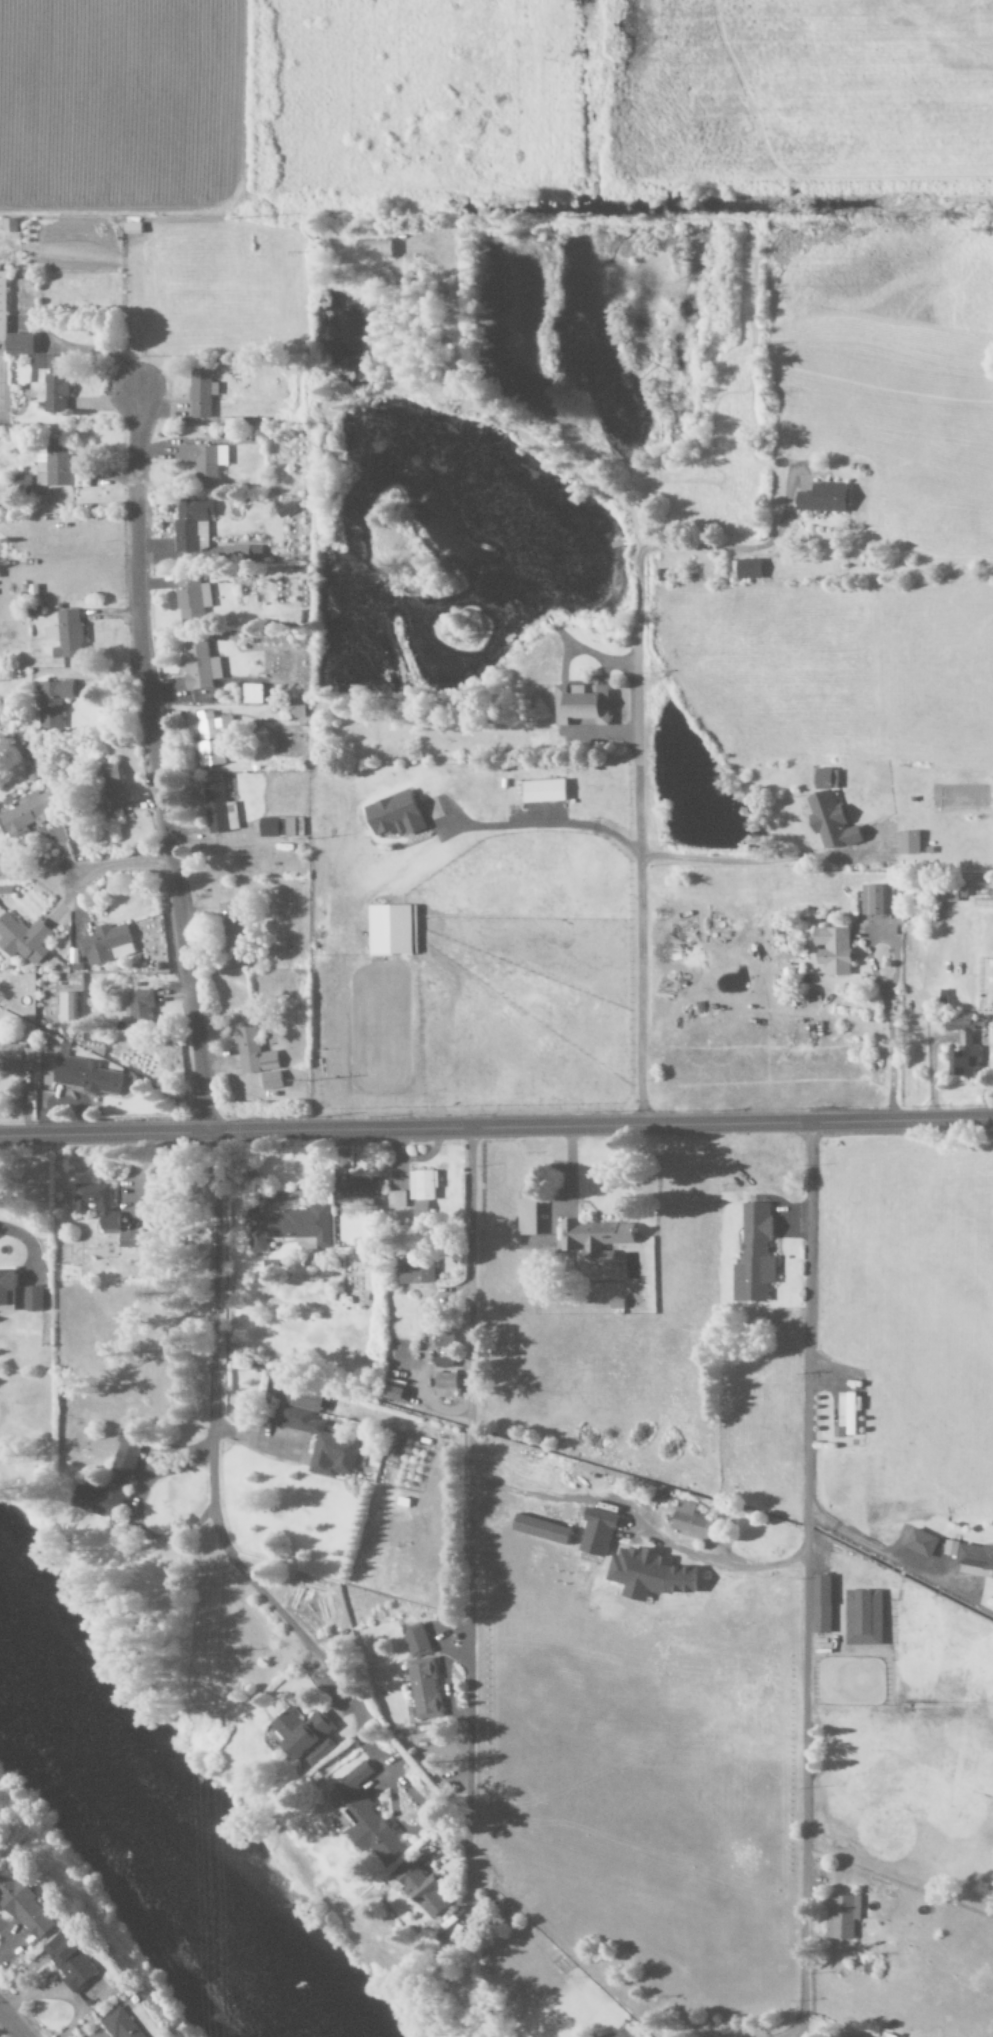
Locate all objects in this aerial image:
crop: (486, 101)
building: (11, 226)
building: (372, 249)
building: (5, 306)
building: (24, 344)
building: (52, 382)
building: (199, 393)
building: (203, 461)
building: (53, 464)
building: (821, 498)
building: (285, 510)
building: (189, 523)
building: (233, 553)
building: (746, 569)
building: (65, 635)
building: (199, 666)
building: (251, 694)
building: (51, 703)
building: (580, 704)
building: (207, 740)
road: (152, 759)
road: (634, 781)
building: (108, 791)
building: (542, 791)
building: (215, 807)
building: (827, 812)
building: (26, 814)
building: (392, 815)
building: (278, 827)
building: (907, 842)
road: (120, 865)
building: (946, 894)
building: (875, 900)
building: (229, 927)
building: (391, 930)
building: (22, 939)
building: (104, 945)
building: (832, 950)
building: (139, 1006)
building: (958, 1027)
building: (250, 1046)
building: (15, 1057)
building: (962, 1062)
building: (84, 1076)
building: (270, 1080)
road: (496, 1127)
building: (421, 1185)
building: (358, 1190)
building: (395, 1200)
building: (97, 1205)
building: (525, 1218)
building: (288, 1227)
building: (129, 1240)
building: (593, 1240)
building: (752, 1256)
building: (414, 1272)
building: (7, 1286)
building: (35, 1299)
building: (615, 1303)
building: (442, 1340)
building: (442, 1363)
building: (444, 1386)
building: (846, 1415)
building: (316, 1434)
building: (111, 1481)
road: (469, 1486)
building: (688, 1520)
building: (595, 1533)
building: (919, 1544)
building: (971, 1555)
road: (229, 1559)
building: (973, 1572)
building: (646, 1575)
road: (803, 1580)
building: (819, 1605)
building: (861, 1618)
building: (415, 1641)
building: (422, 1689)
building: (304, 1737)
building: (368, 1819)
river: (148, 1843)
building: (23, 1905)
building: (841, 1916)
building: (67, 1962)
road: (10, 2024)
building: (120, 2024)
building: (842, 2036)

